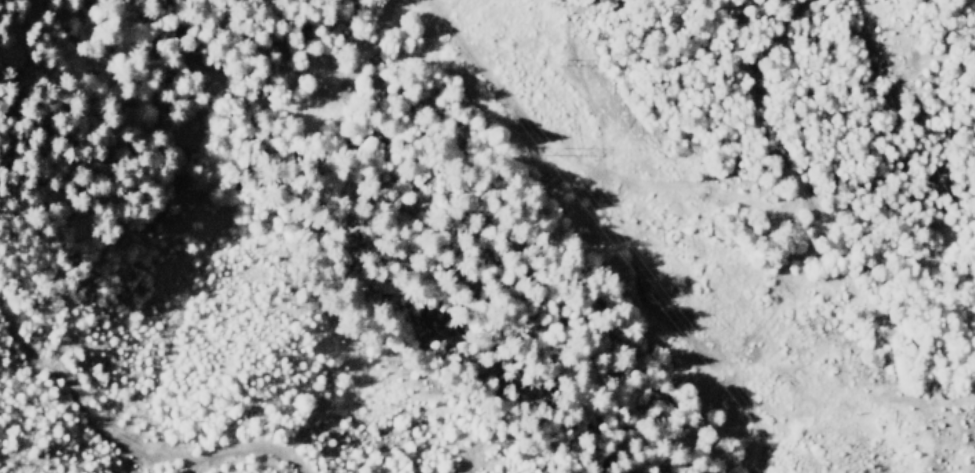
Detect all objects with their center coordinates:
power tower: (552, 150)

